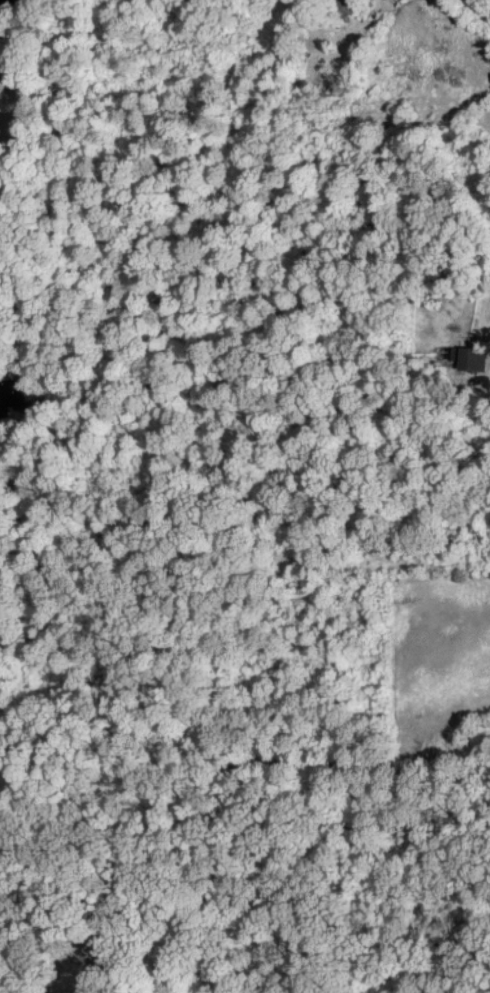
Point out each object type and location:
road: (486, 3)
building: (338, 6)
building: (464, 357)

